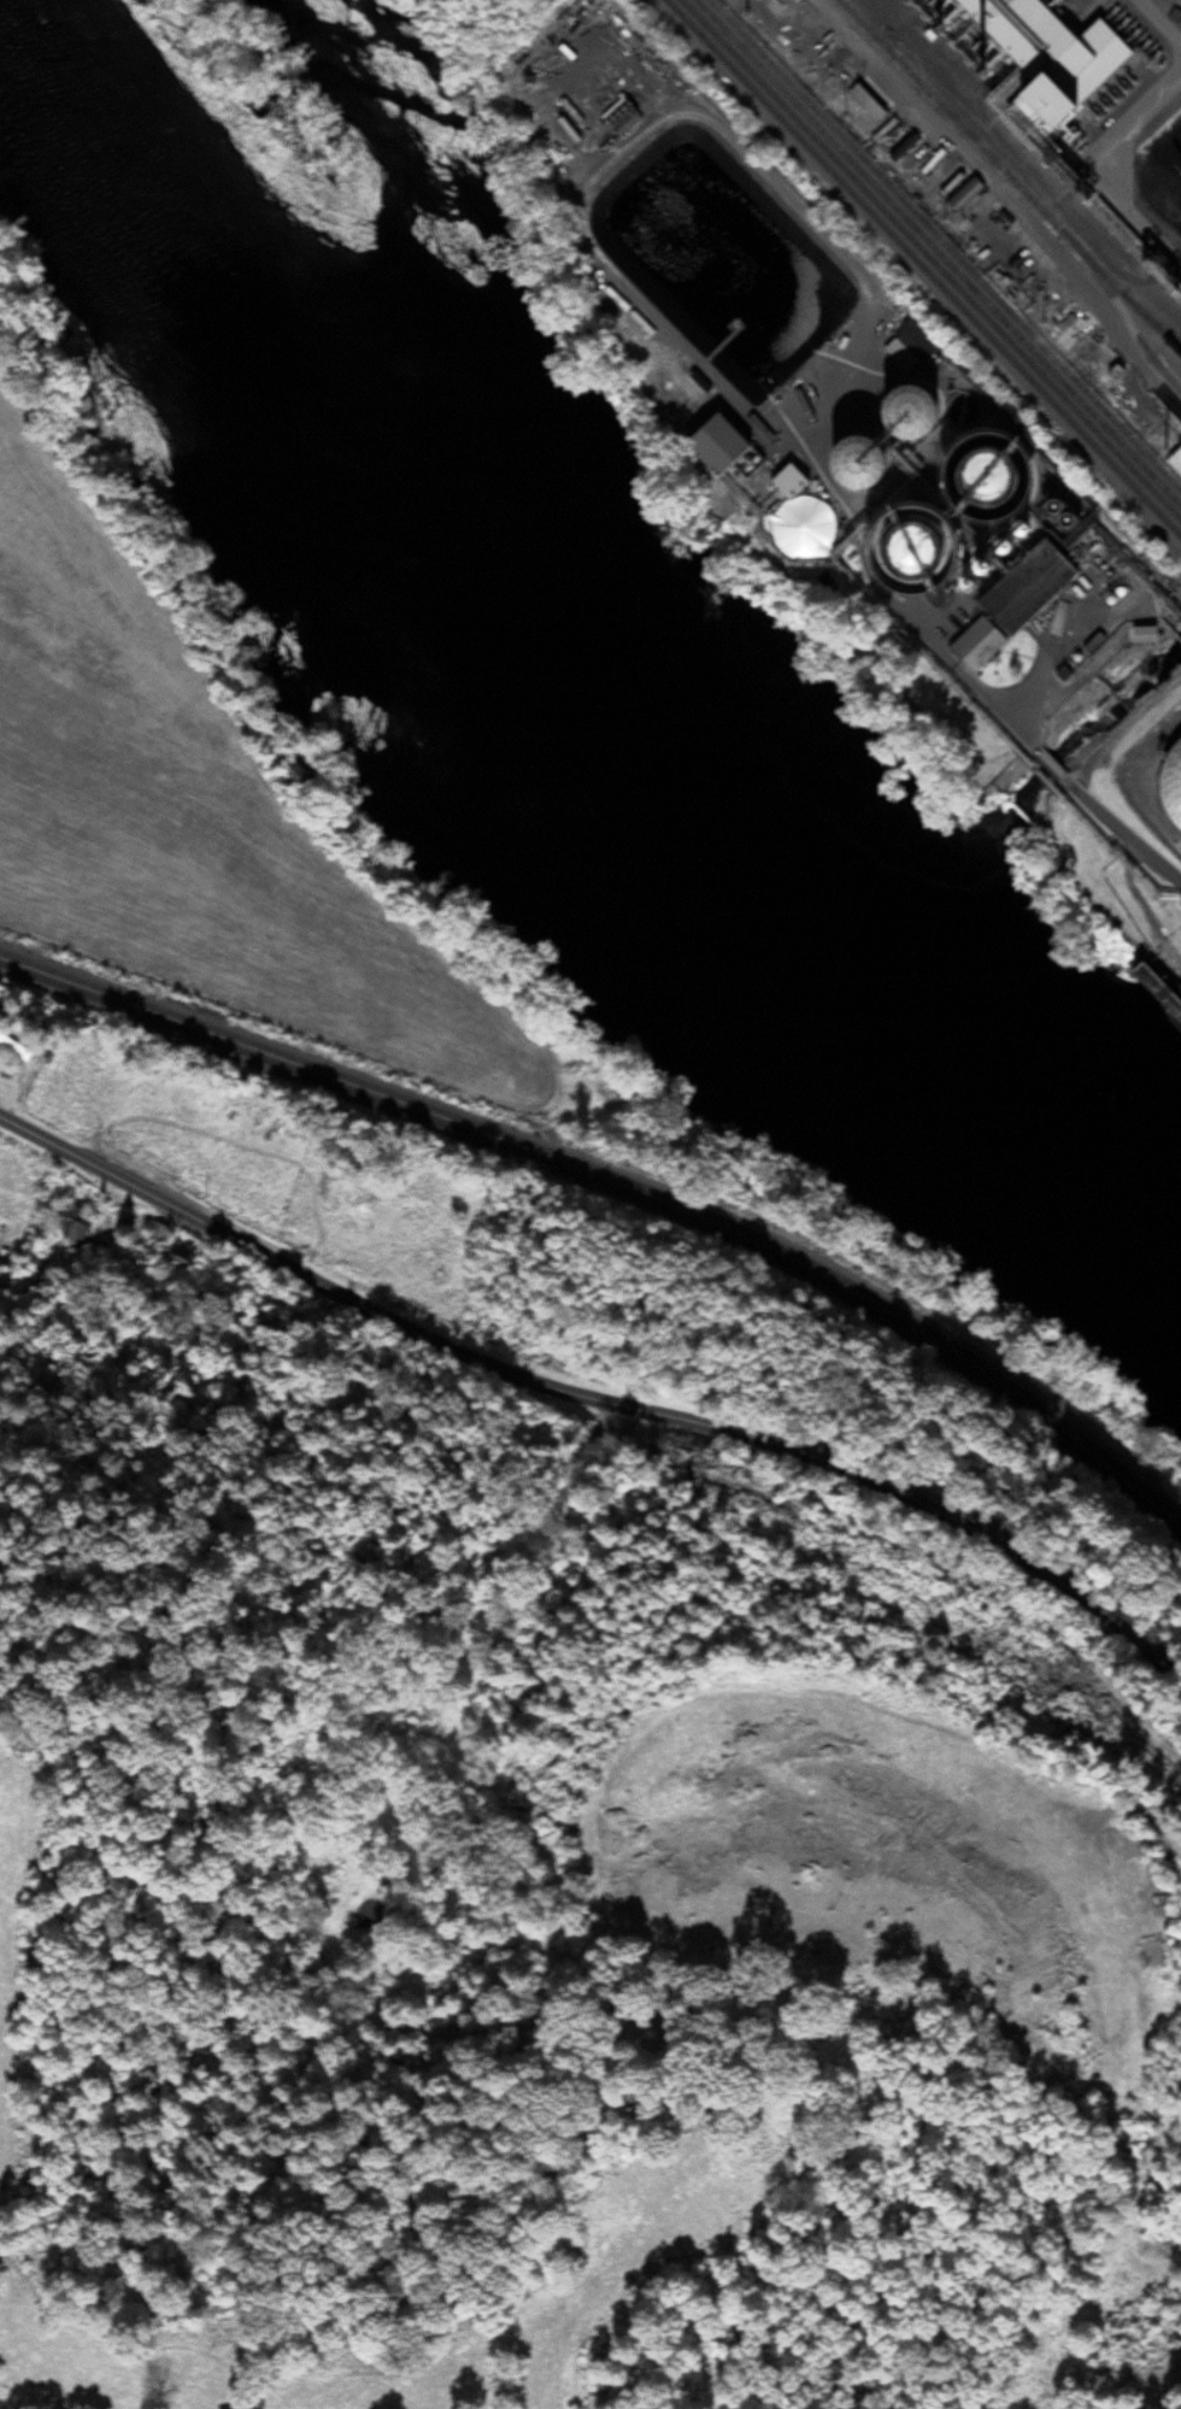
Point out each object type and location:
building: (1180, 0)
building: (862, 102)
railway: (1007, 178)
building: (960, 196)
railway: (948, 248)
building: (907, 347)
building: (888, 413)
building: (798, 416)
building: (1180, 427)
building: (706, 445)
building: (1173, 462)
building: (959, 476)
building: (780, 481)
building: (885, 539)
building: (1003, 606)
building: (1136, 635)
river: (545, 671)
building: (1168, 785)
road: (1129, 813)
building: (11, 1048)
building: (223, 1106)
railway: (619, 1181)
building: (181, 1257)
road: (594, 1399)
road: (1148, 1812)
road: (1138, 2193)

